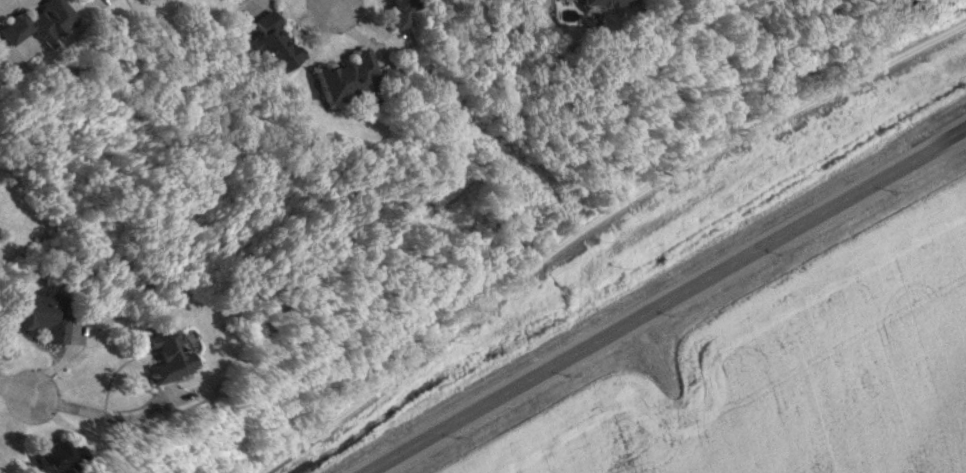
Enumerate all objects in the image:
building: (597, 2)
road: (323, 3)
building: (391, 12)
building: (37, 22)
building: (265, 43)
building: (338, 77)
road: (592, 220)
road: (664, 301)
building: (39, 315)
building: (165, 354)
road: (654, 359)
crop: (774, 363)
road: (12, 393)
road: (97, 415)
building: (43, 455)

